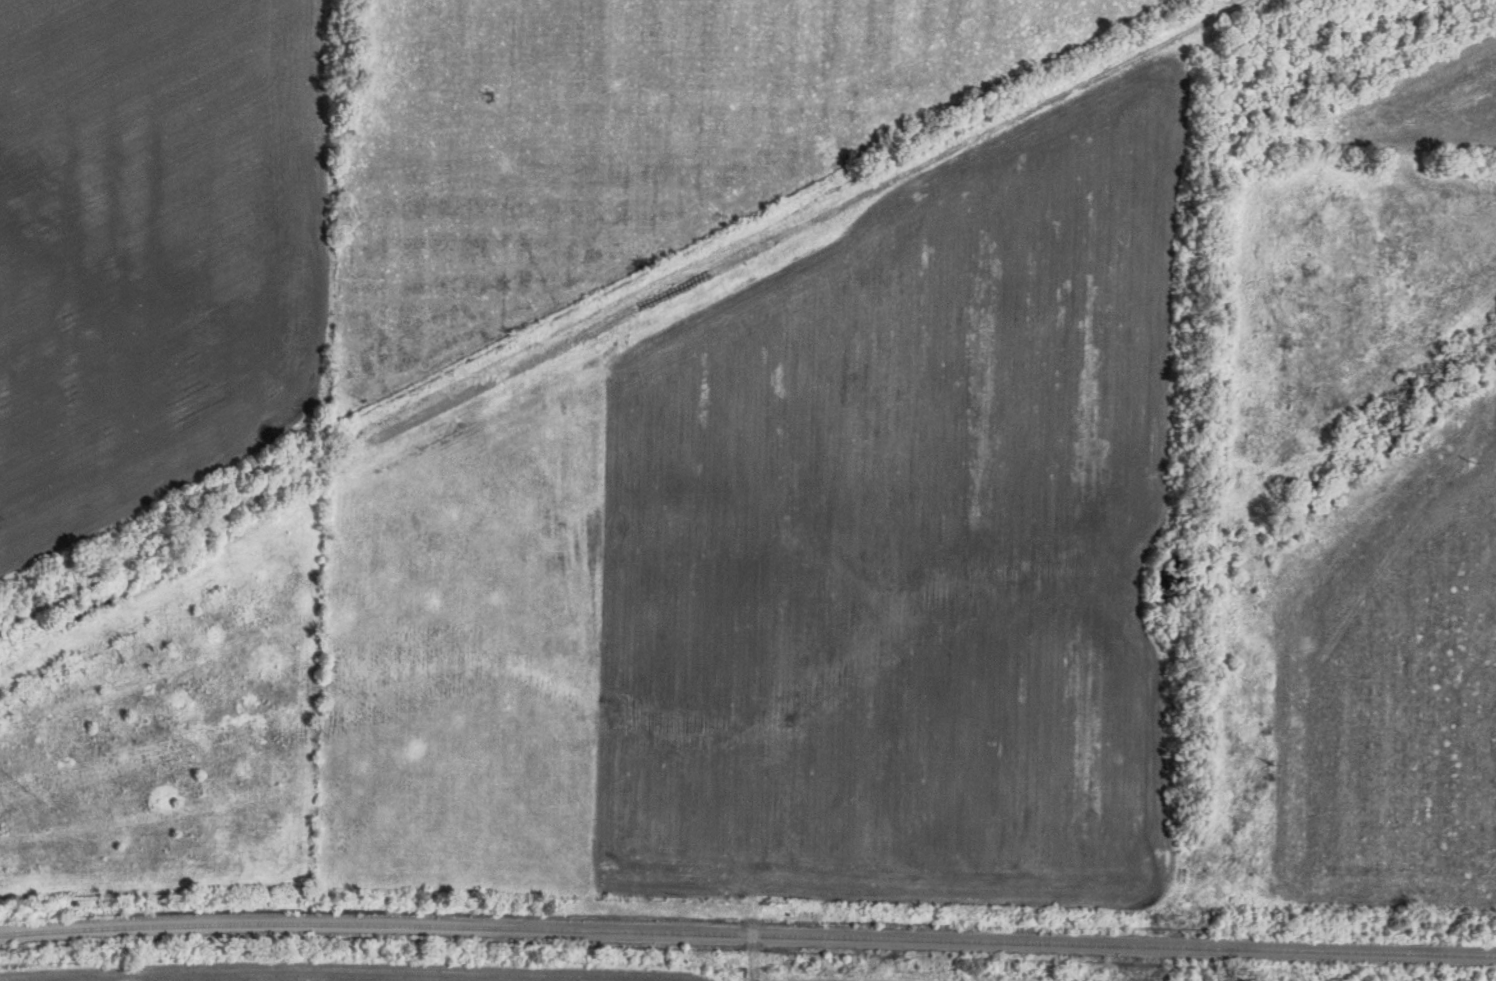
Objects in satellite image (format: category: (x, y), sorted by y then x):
railway: (747, 909)

